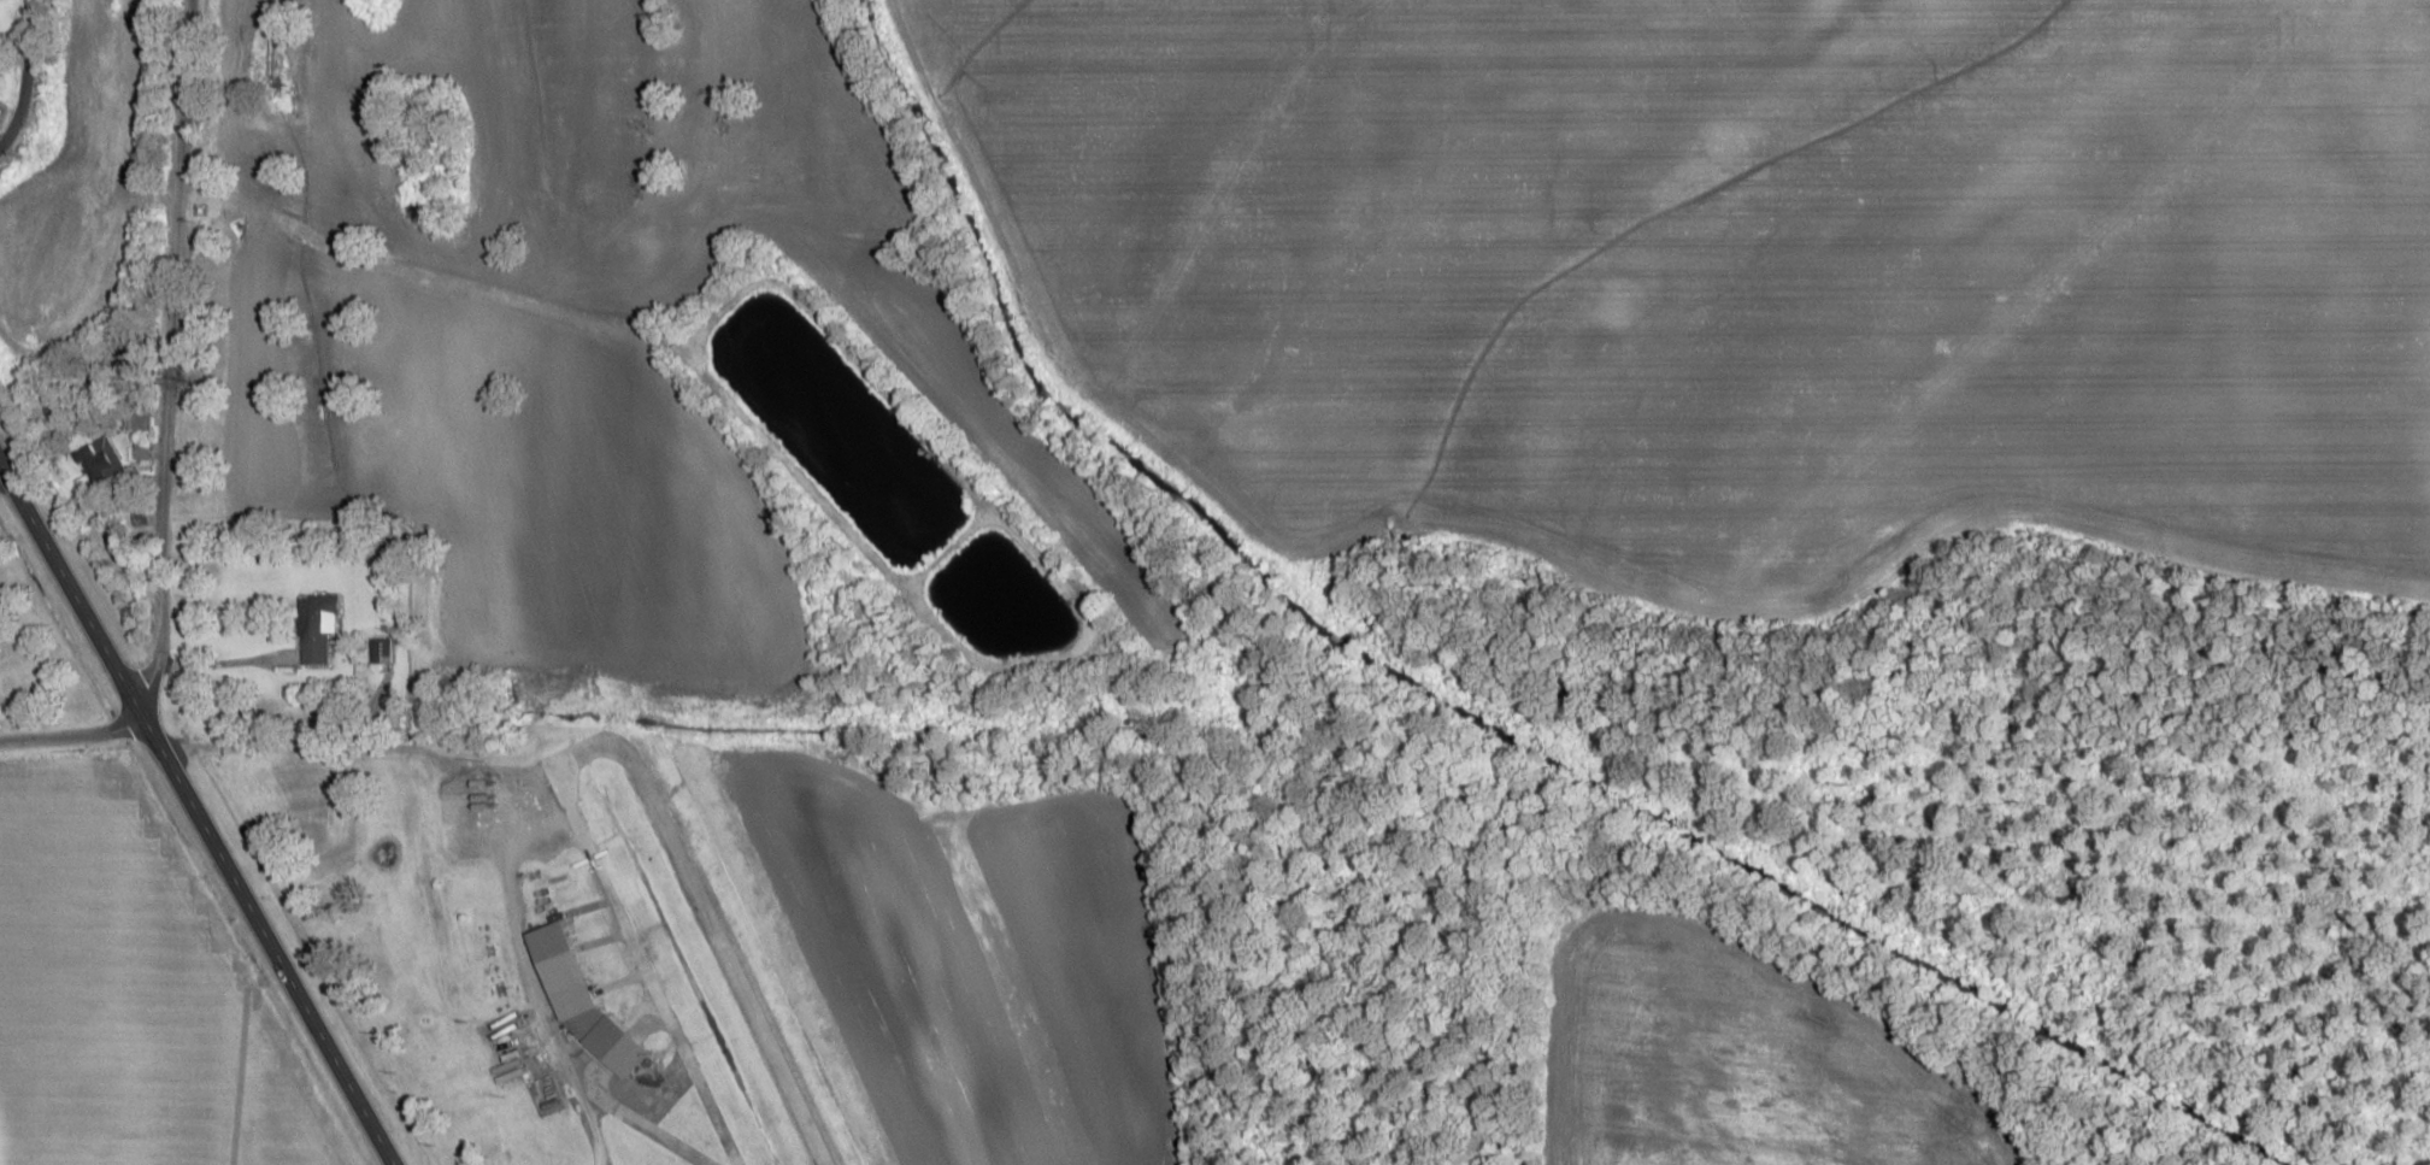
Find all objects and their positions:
road: (24, 81)
road: (514, 304)
road: (173, 357)
building: (139, 422)
building: (100, 461)
building: (316, 628)
road: (71, 736)
road: (325, 749)
road: (196, 816)
airport hangar: (552, 922)
building: (552, 922)
airport taxiway: (628, 922)
building: (479, 932)
airport runway: (731, 961)
road: (530, 969)
airport hangar: (576, 1008)
building: (576, 1008)
airport hangar: (490, 1041)
building: (490, 1041)
airport hangar: (614, 1045)
building: (614, 1045)
airport taxiway: (661, 1085)
airport taxiway: (639, 1119)

